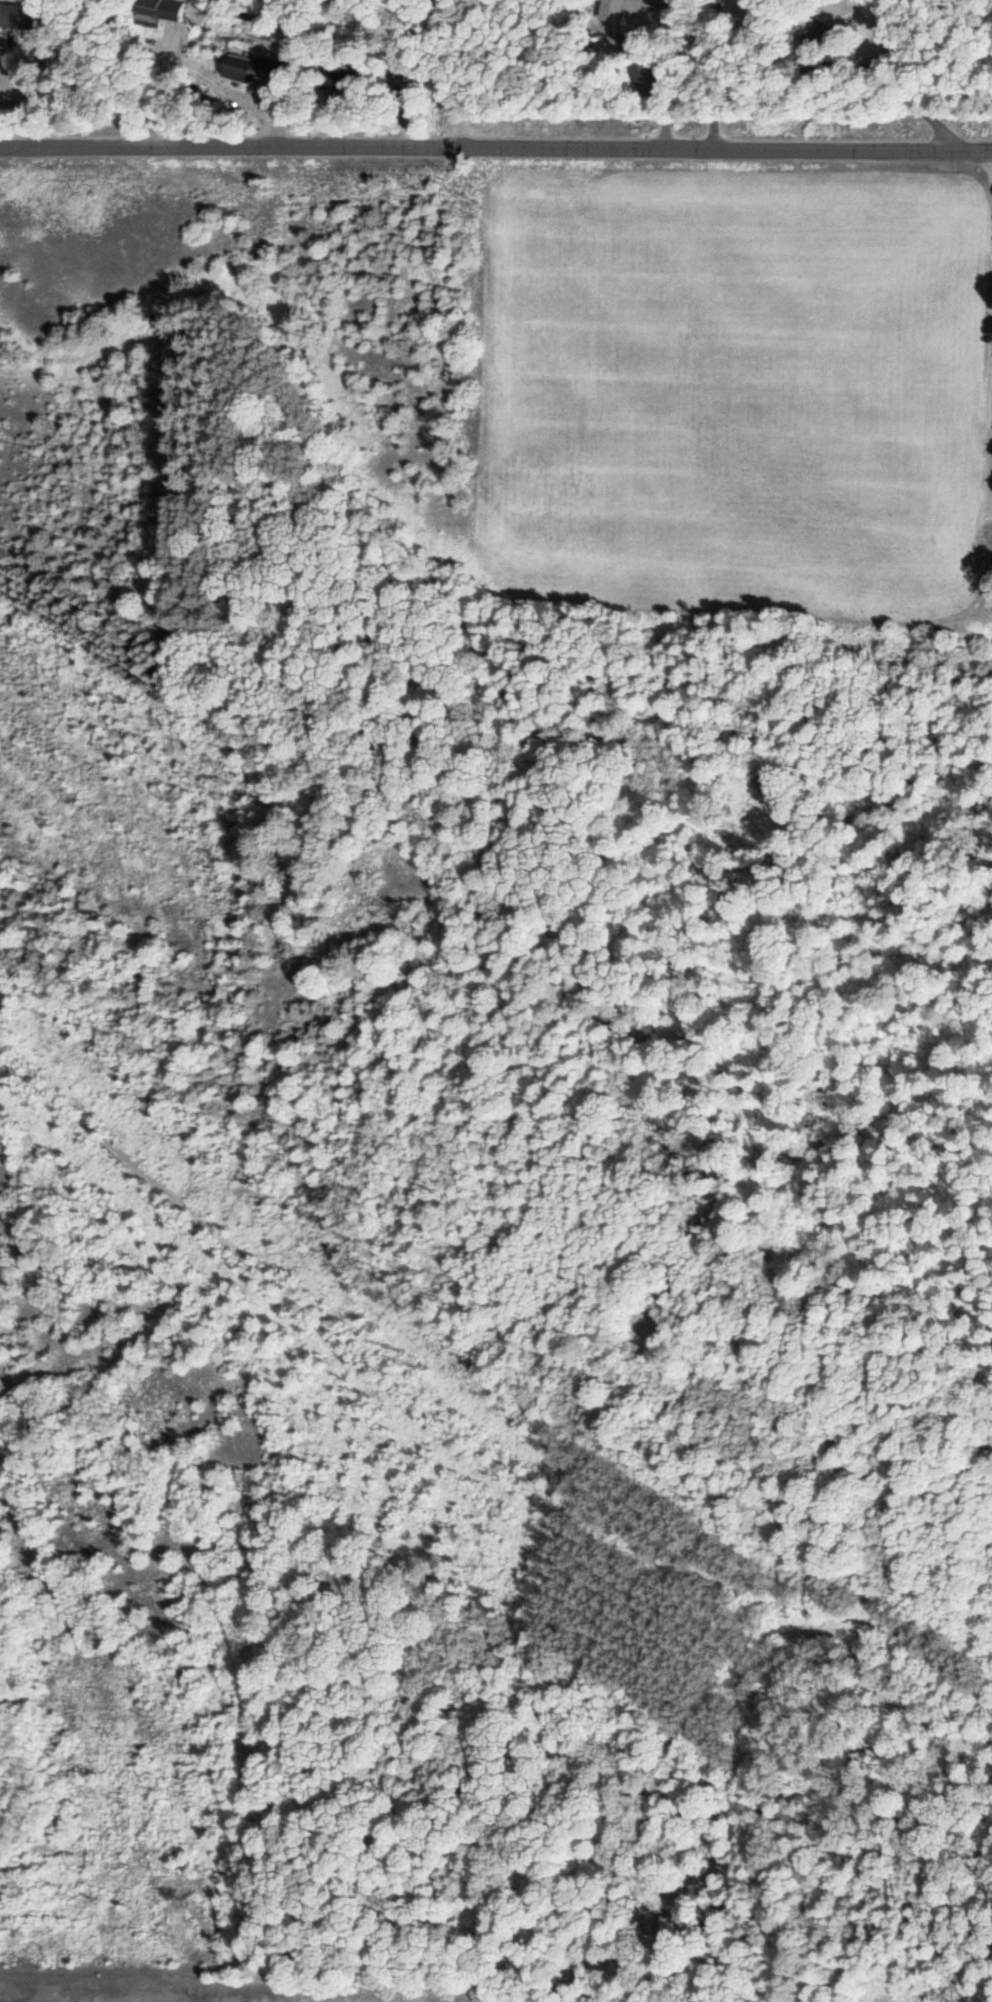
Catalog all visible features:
building: (146, 6)
building: (617, 6)
building: (15, 14)
building: (244, 67)
building: (641, 71)
building: (330, 79)
road: (496, 139)

